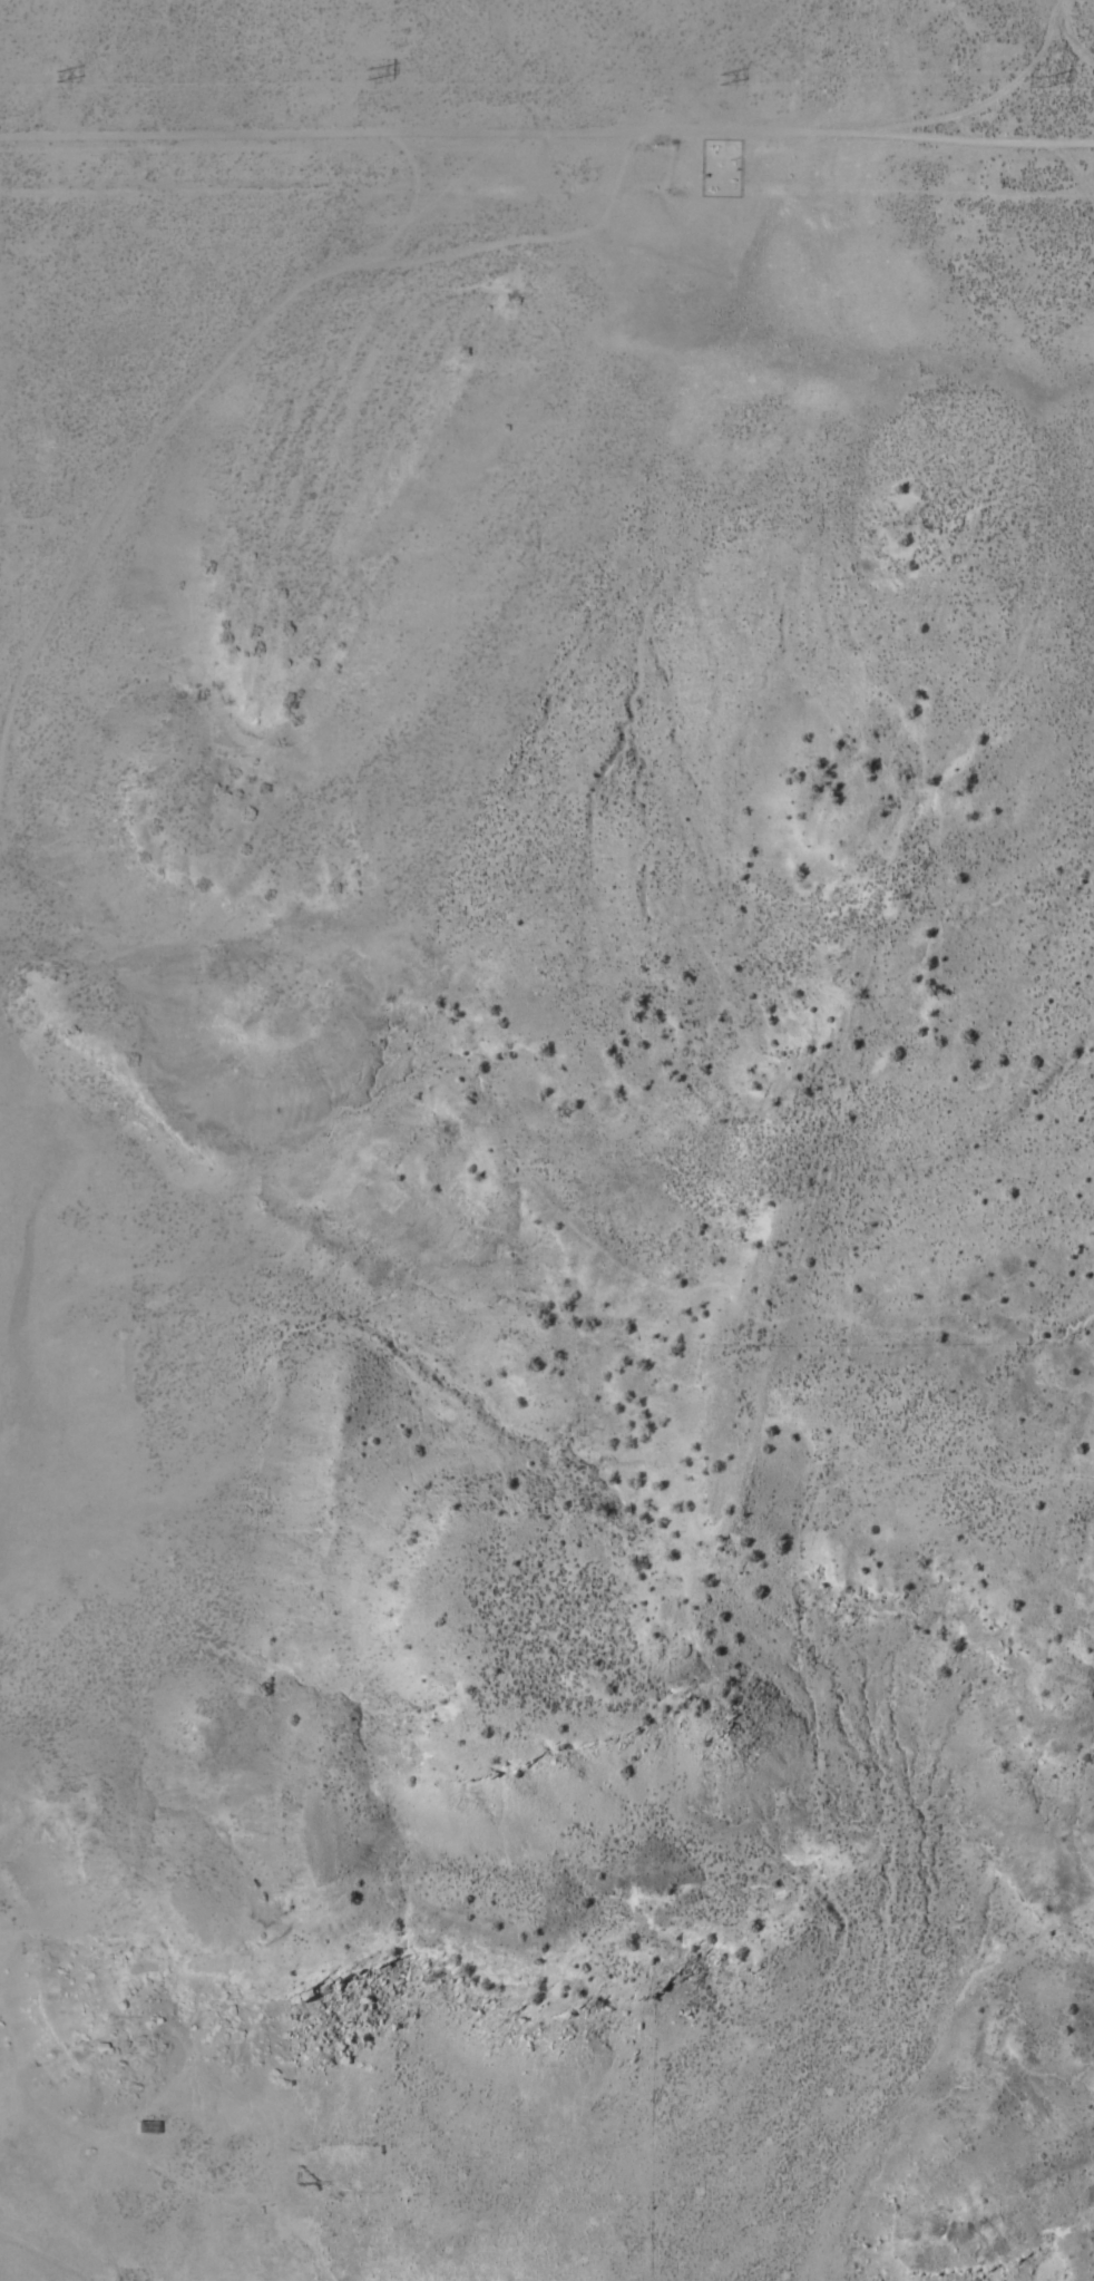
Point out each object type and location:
power tower: (355, 77)
power tower: (1039, 84)
road: (1045, 87)
road: (422, 231)
road: (147, 1463)
road: (178, 2172)
road: (92, 2235)
road: (187, 2251)

